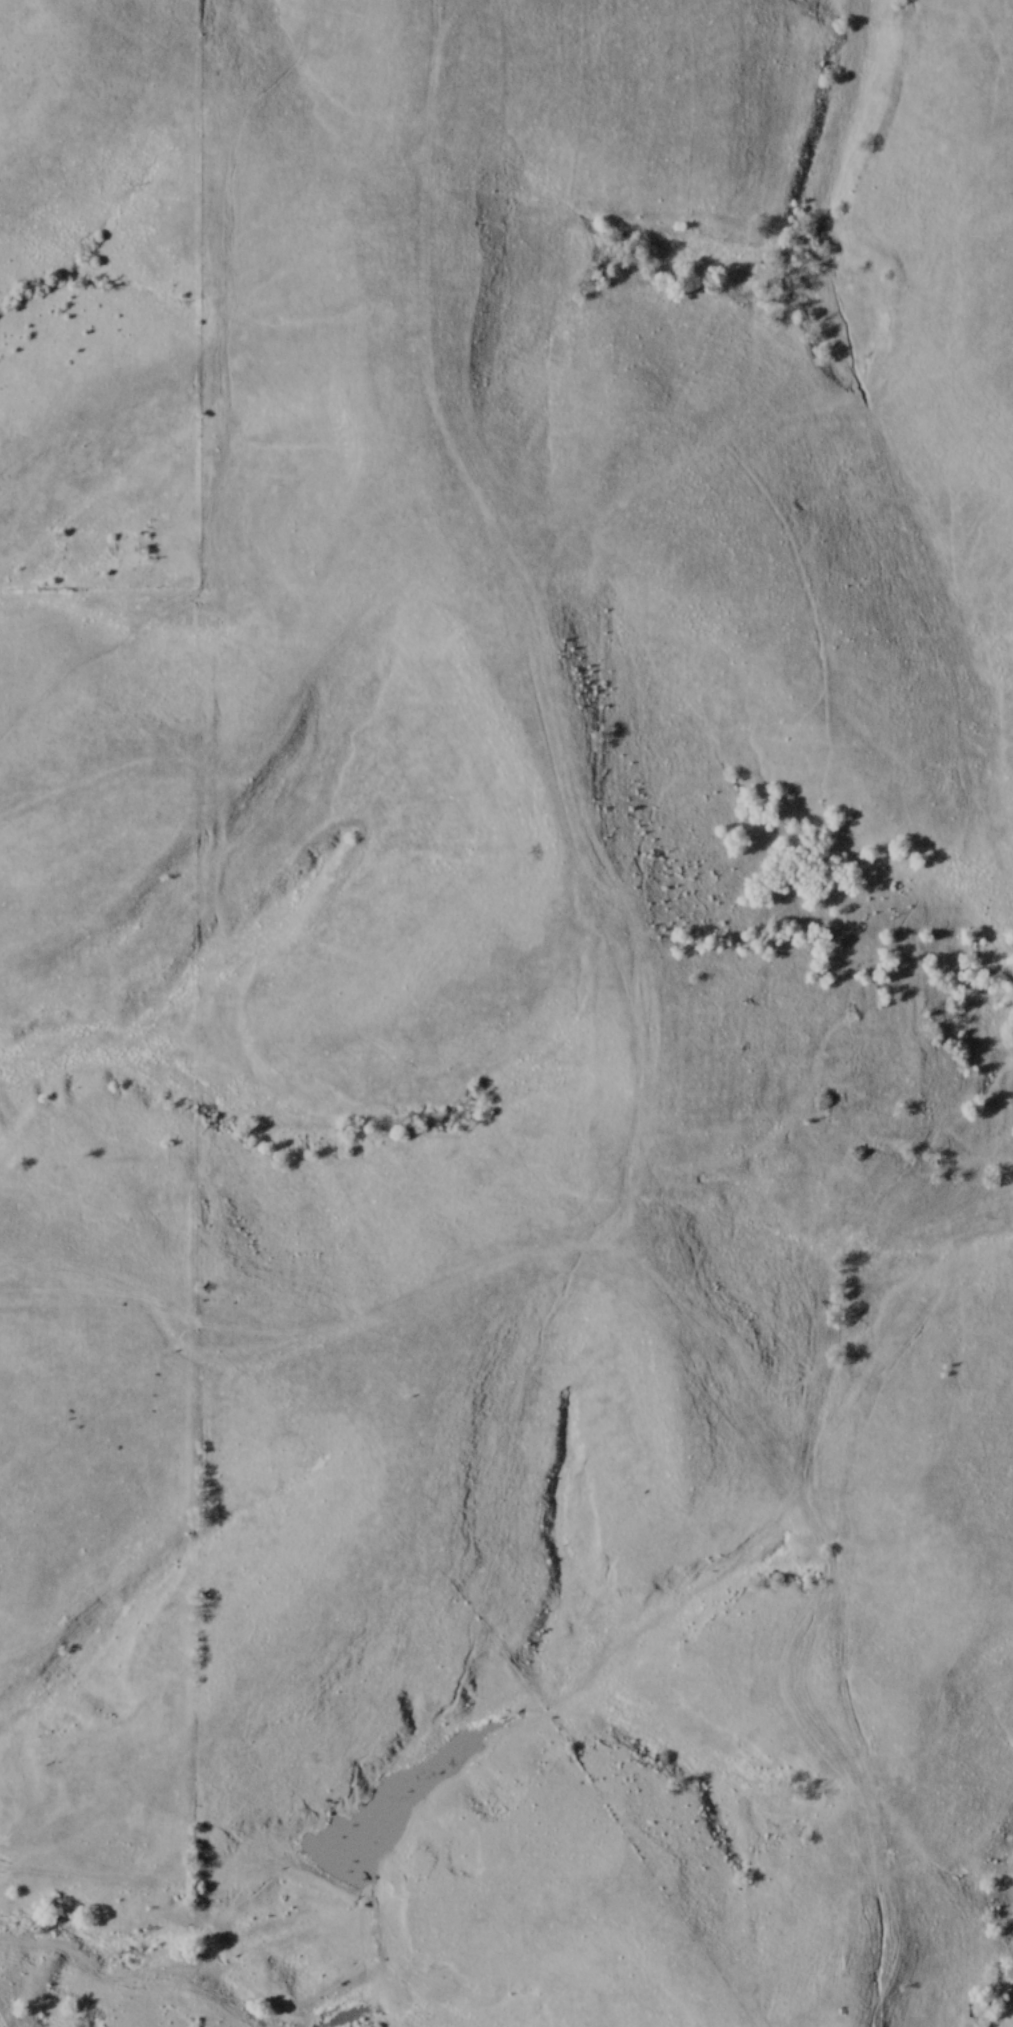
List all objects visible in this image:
building: (836, 1095)

